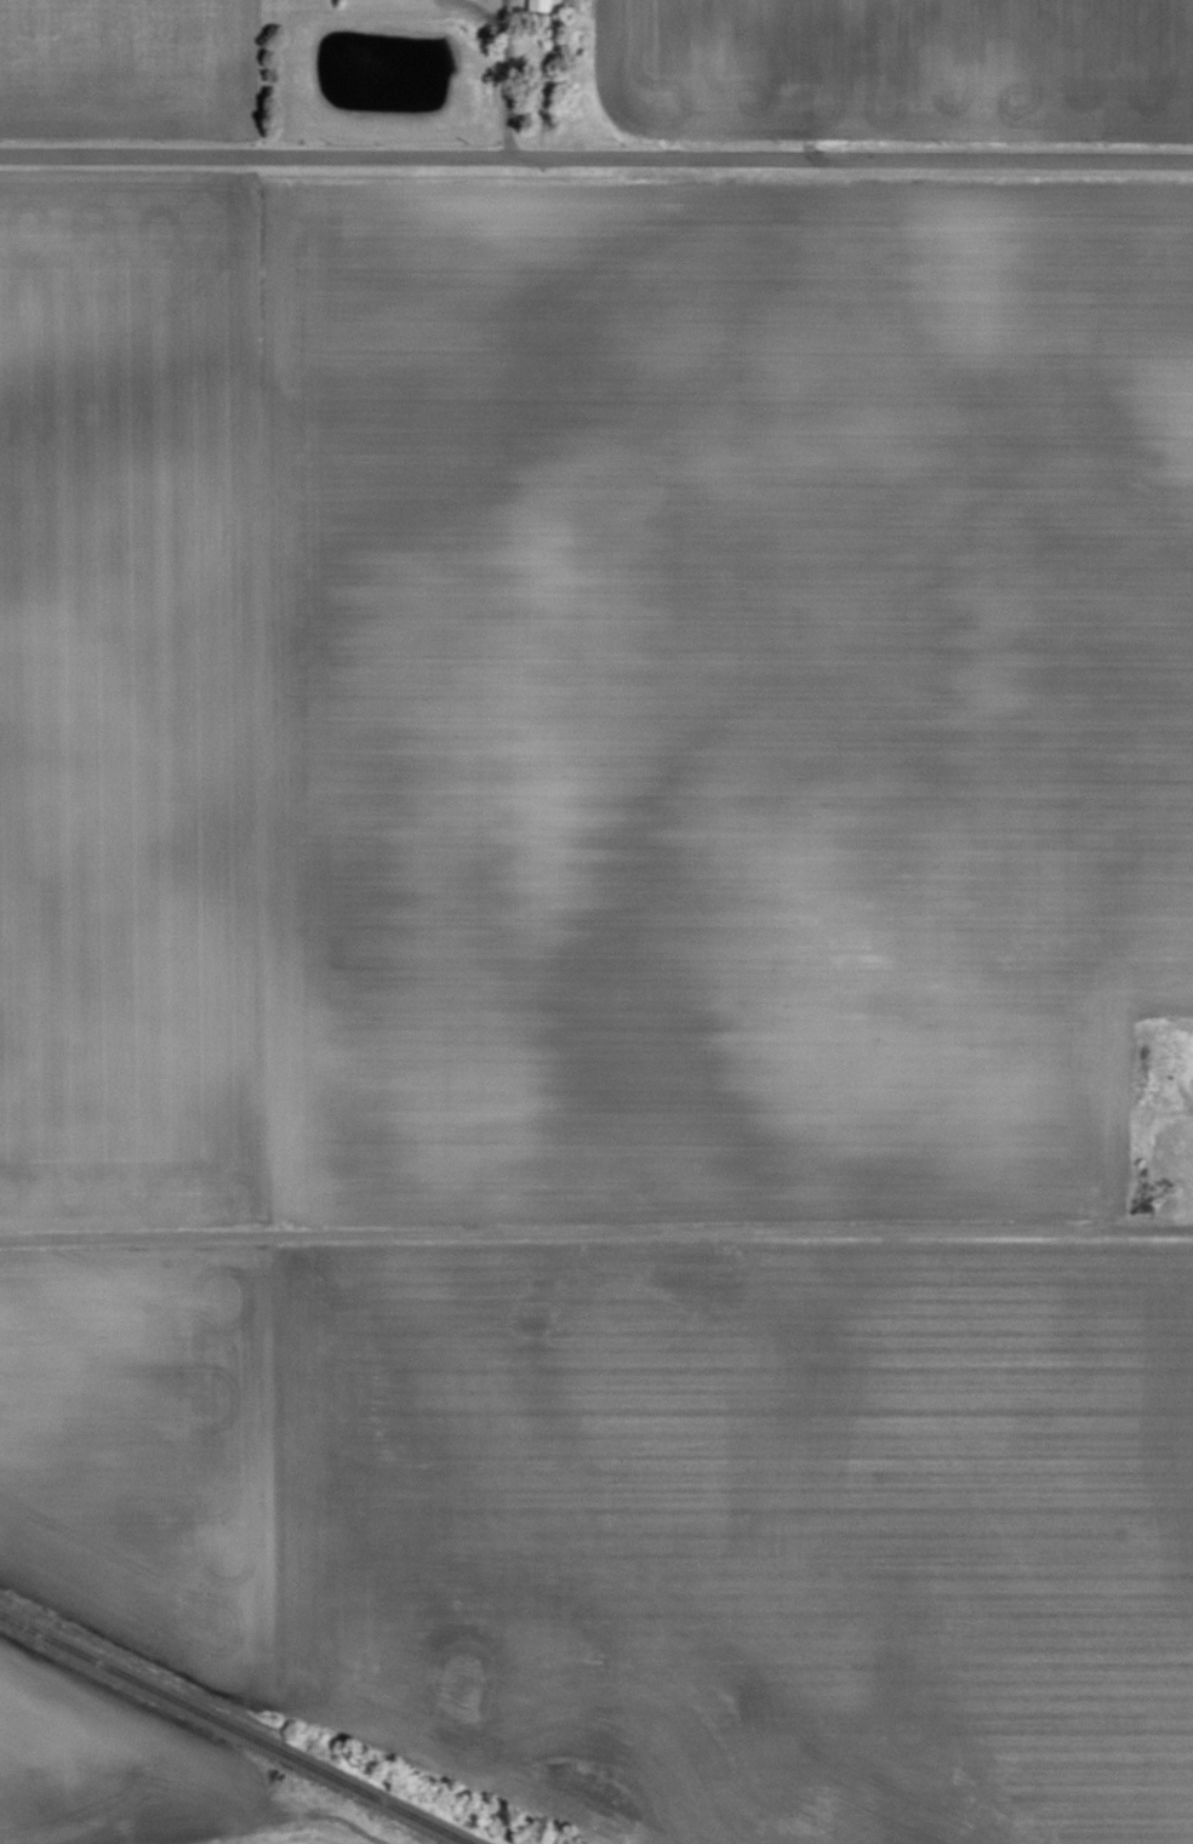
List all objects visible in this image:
road: (478, 11)
road: (500, 78)
road: (596, 155)
road: (595, 1228)
railway: (235, 1728)

